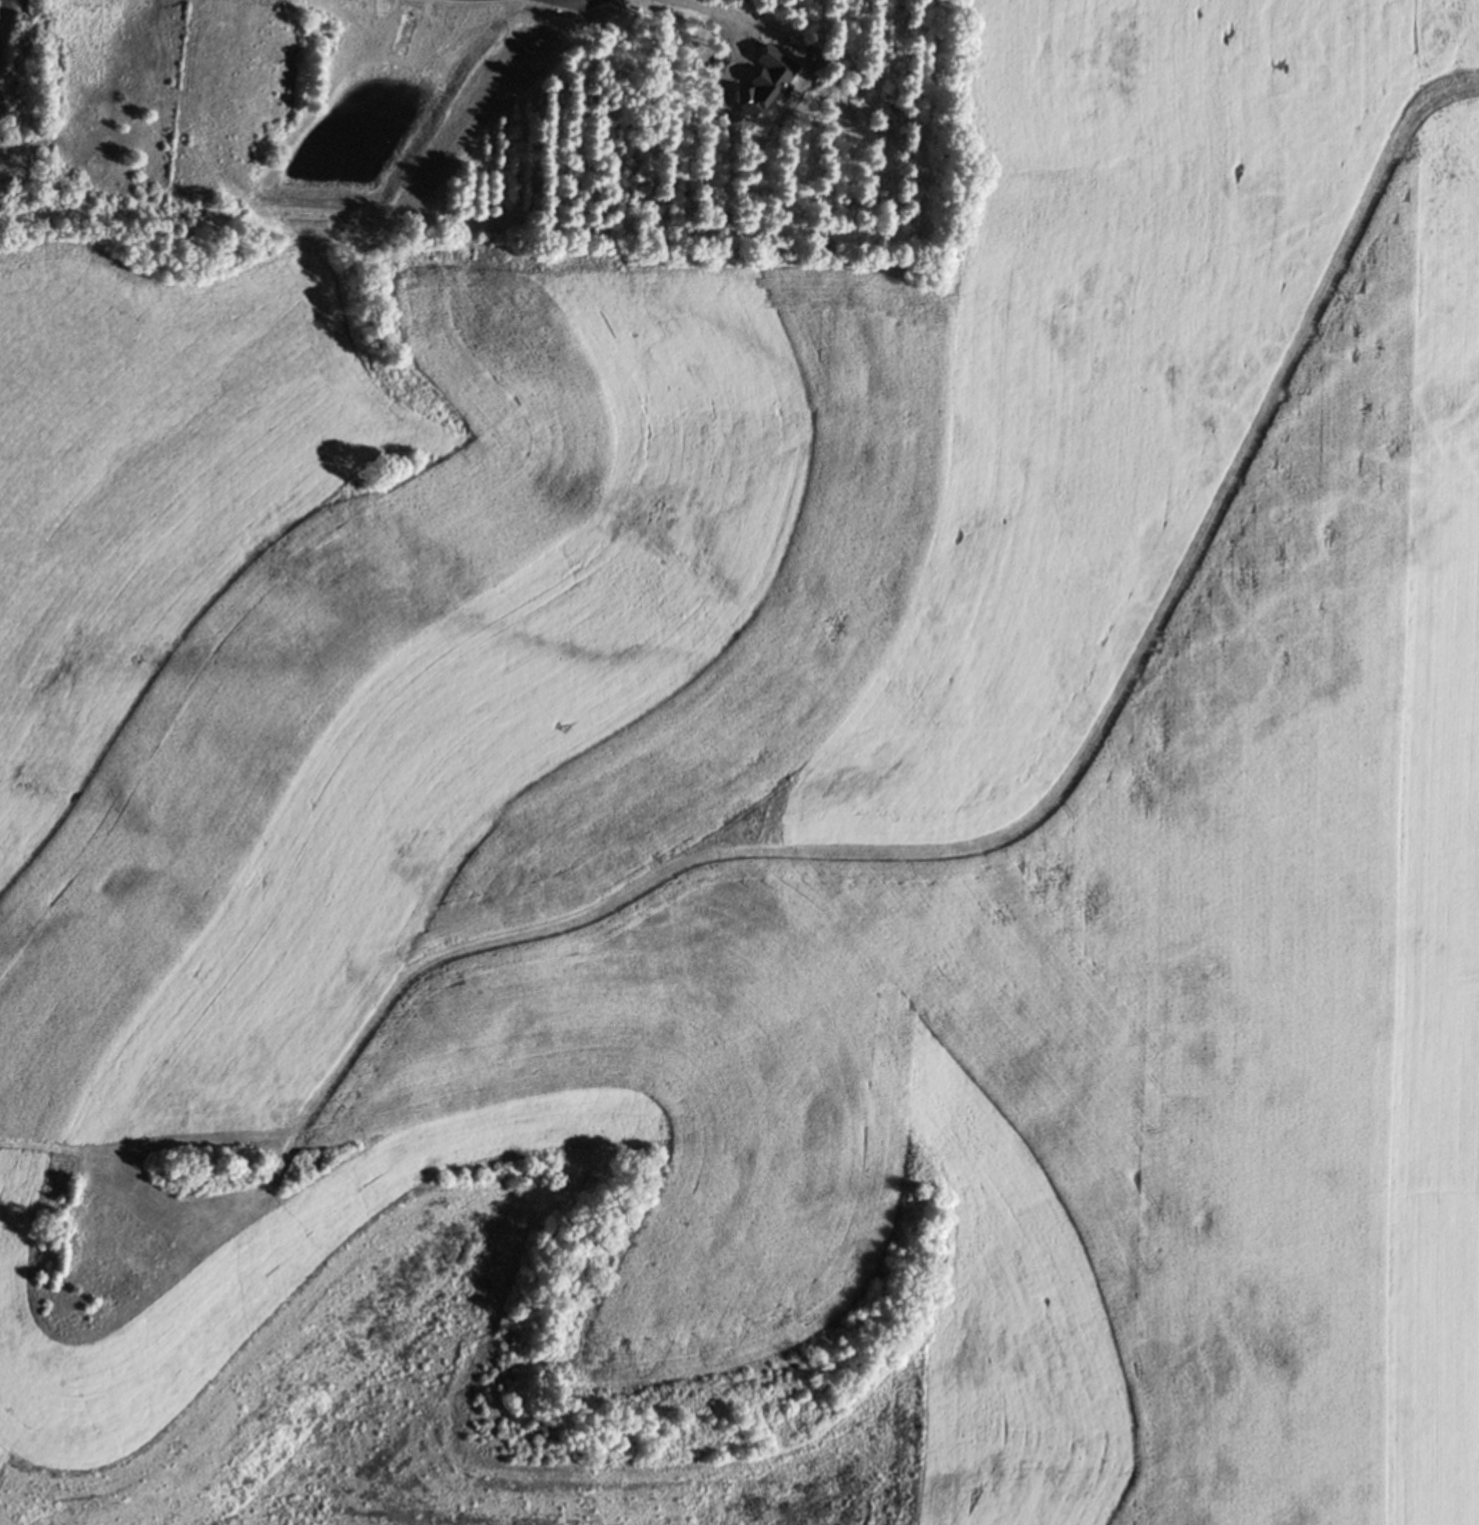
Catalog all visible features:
road: (729, 15)
crop: (765, 828)

